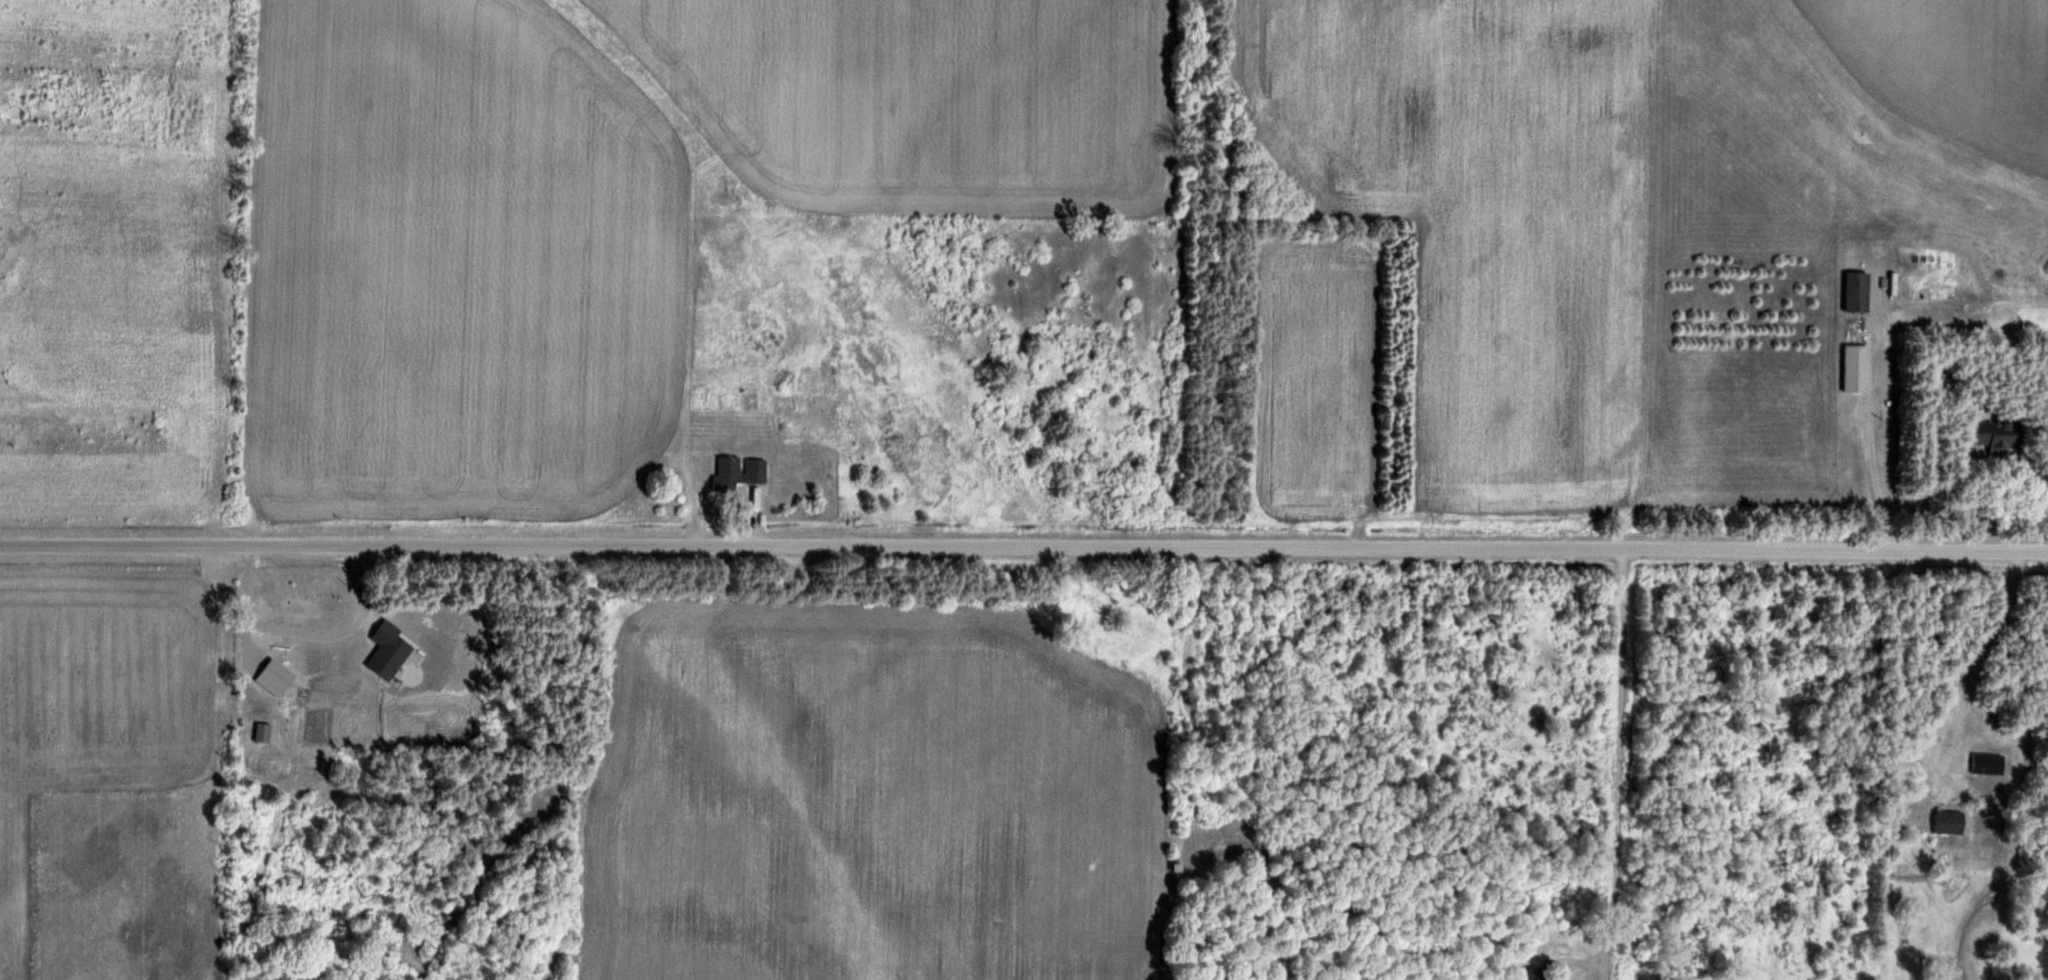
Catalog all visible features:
building: (1857, 291)
building: (1856, 367)
building: (700, 397)
building: (750, 400)
building: (729, 401)
building: (1997, 433)
building: (738, 472)
road: (1024, 546)
road: (1982, 645)
building: (387, 650)
building: (276, 674)
road: (1615, 772)
building: (1948, 820)
building: (1532, 973)

